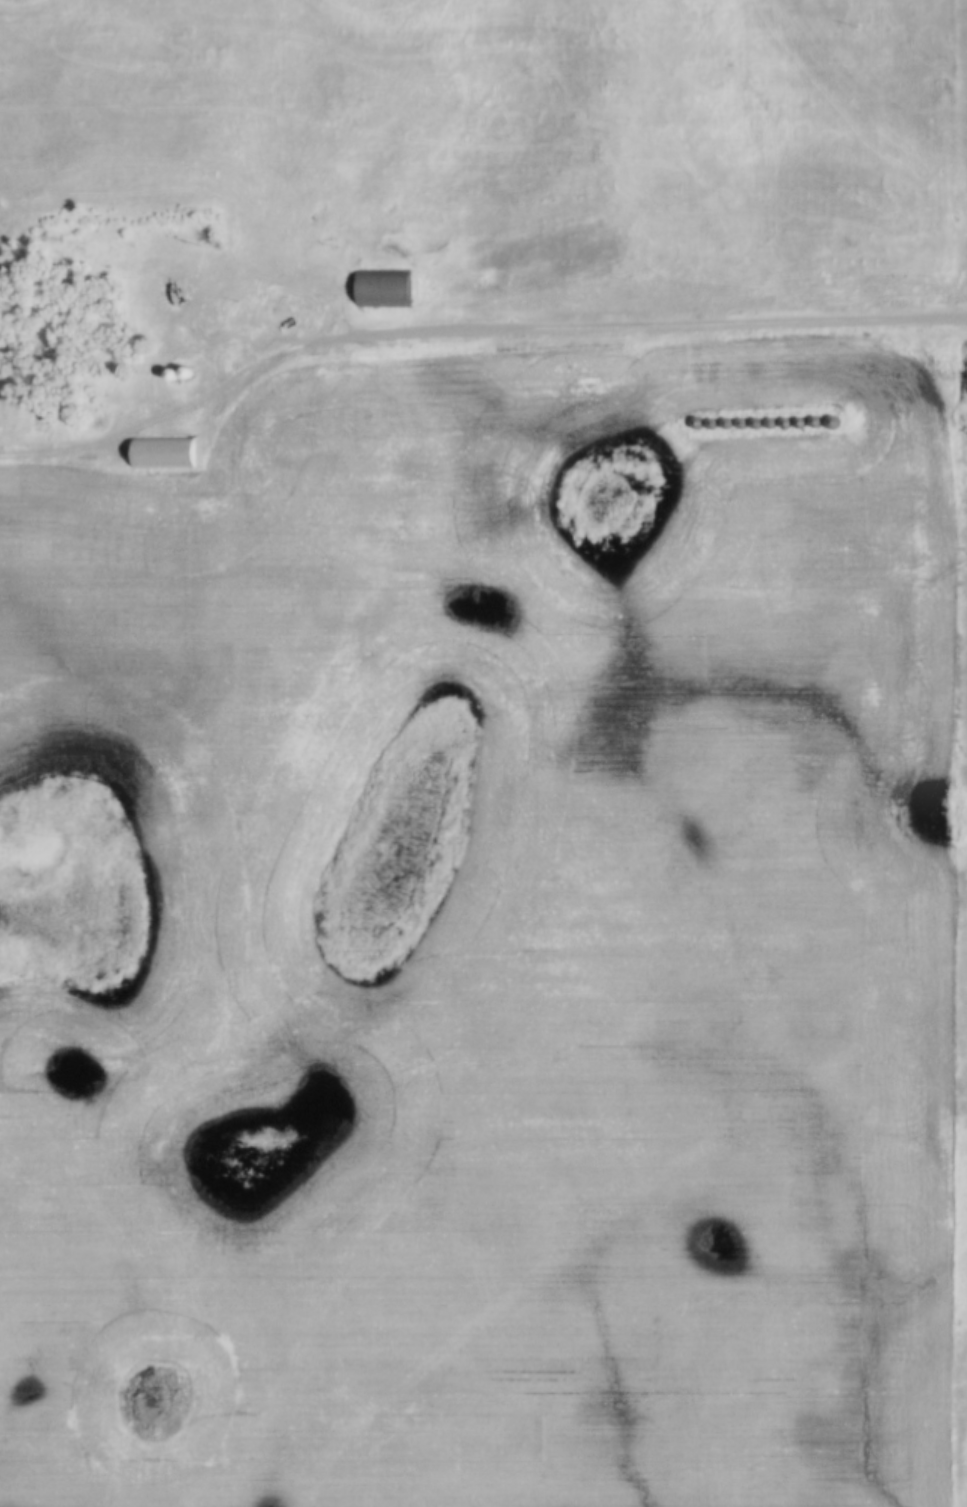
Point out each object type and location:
building: (384, 288)
road: (552, 328)
road: (80, 445)
building: (163, 451)

